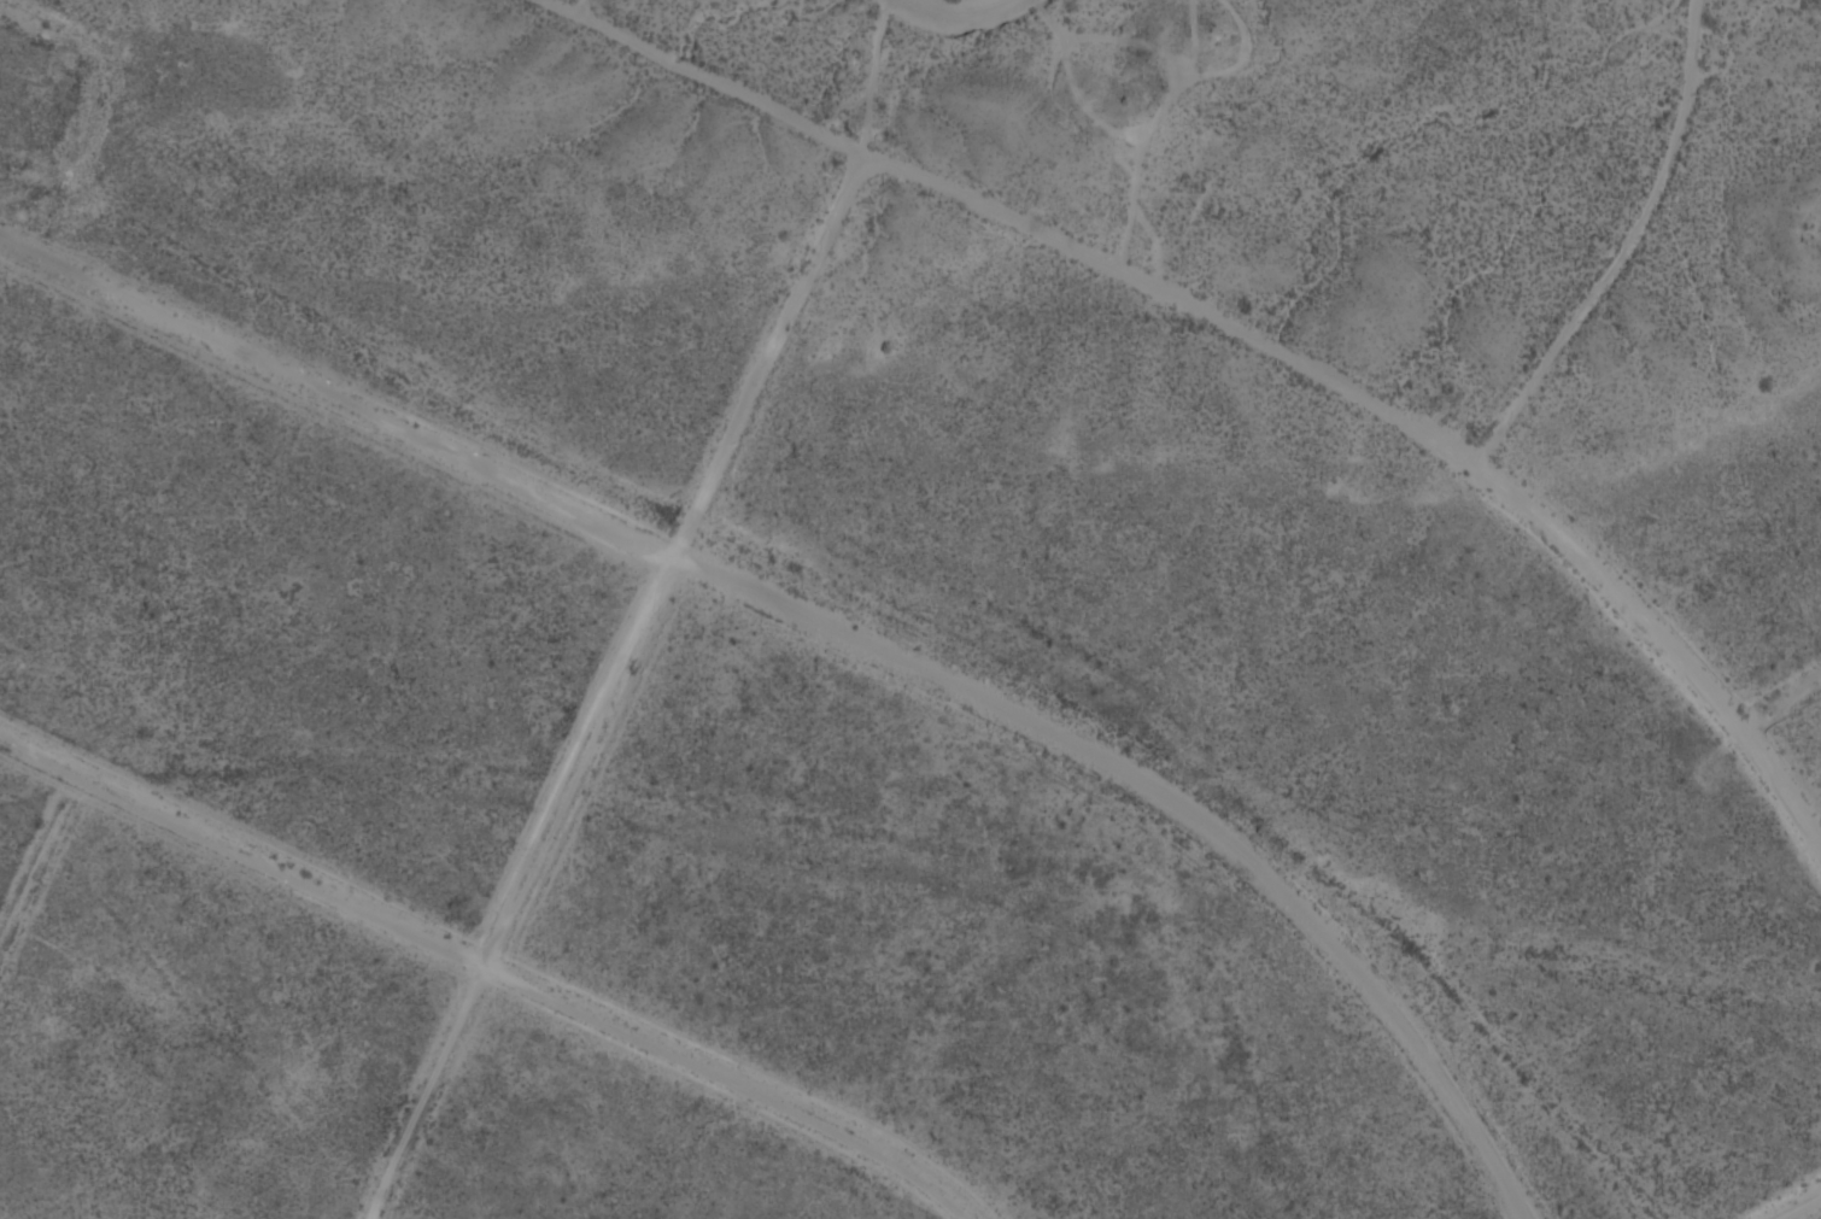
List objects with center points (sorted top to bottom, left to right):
road: (704, 78)
road: (1409, 414)
road: (842, 625)
road: (614, 688)
road: (1785, 696)
road: (497, 966)
road: (1796, 1205)

